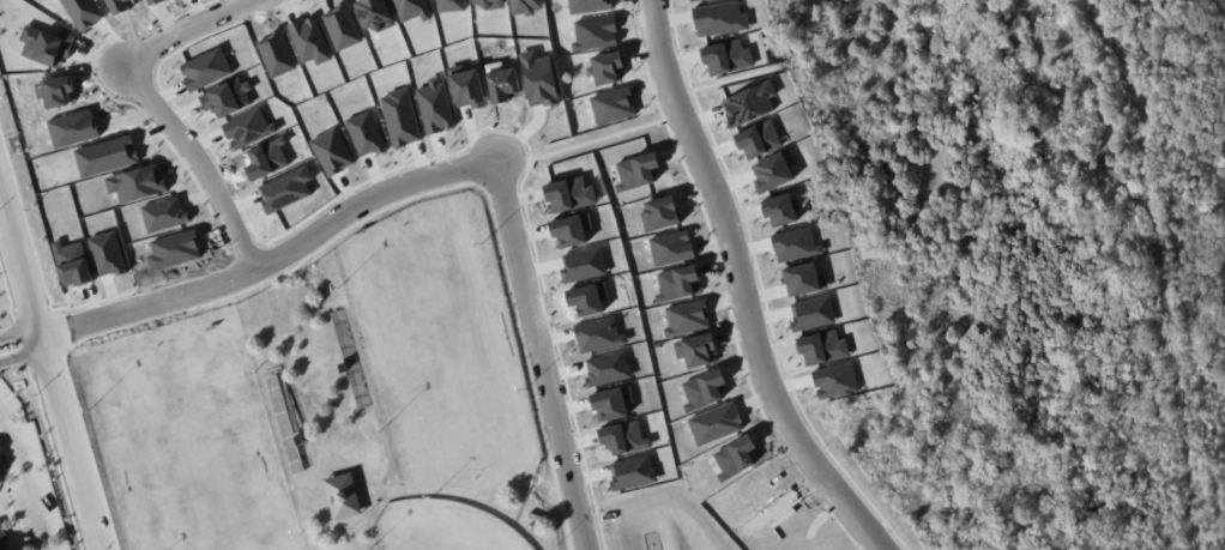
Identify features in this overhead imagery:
road: (187, 28)
road: (740, 77)
road: (597, 138)
road: (422, 158)
road: (201, 161)
road: (349, 226)
road: (243, 244)
road: (228, 252)
road: (273, 258)
road: (277, 258)
road: (724, 286)
road: (742, 286)
road: (8, 288)
road: (761, 289)
road: (31, 309)
road: (64, 328)
road: (19, 331)
road: (20, 343)
park: (445, 347)
road: (22, 351)
road: (542, 355)
road: (50, 370)
building: (346, 371)
park: (191, 436)
building: (302, 442)
road: (56, 457)
road: (29, 482)
building: (345, 497)
building: (545, 521)
park: (441, 527)

